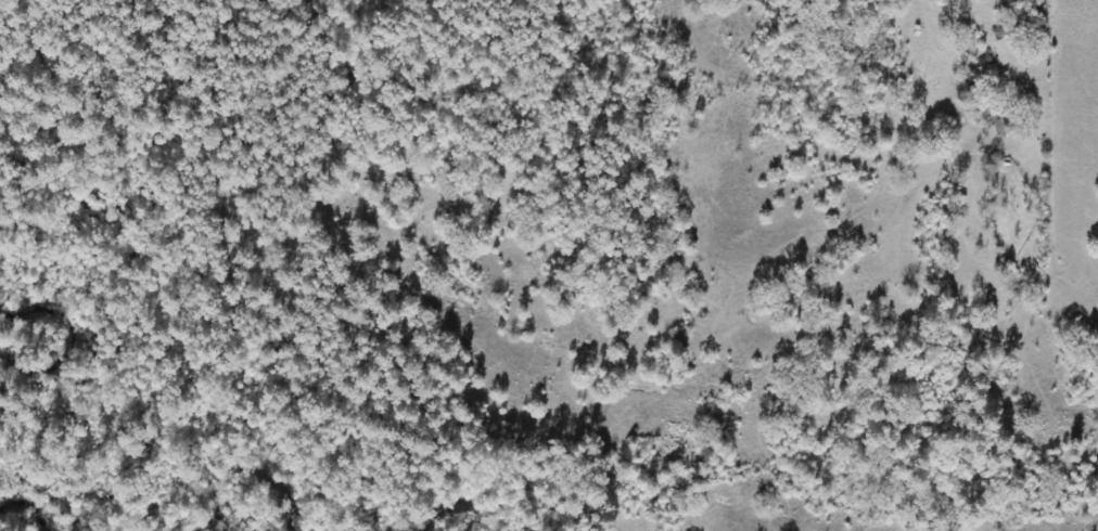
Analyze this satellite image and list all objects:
building: (1000, 122)

